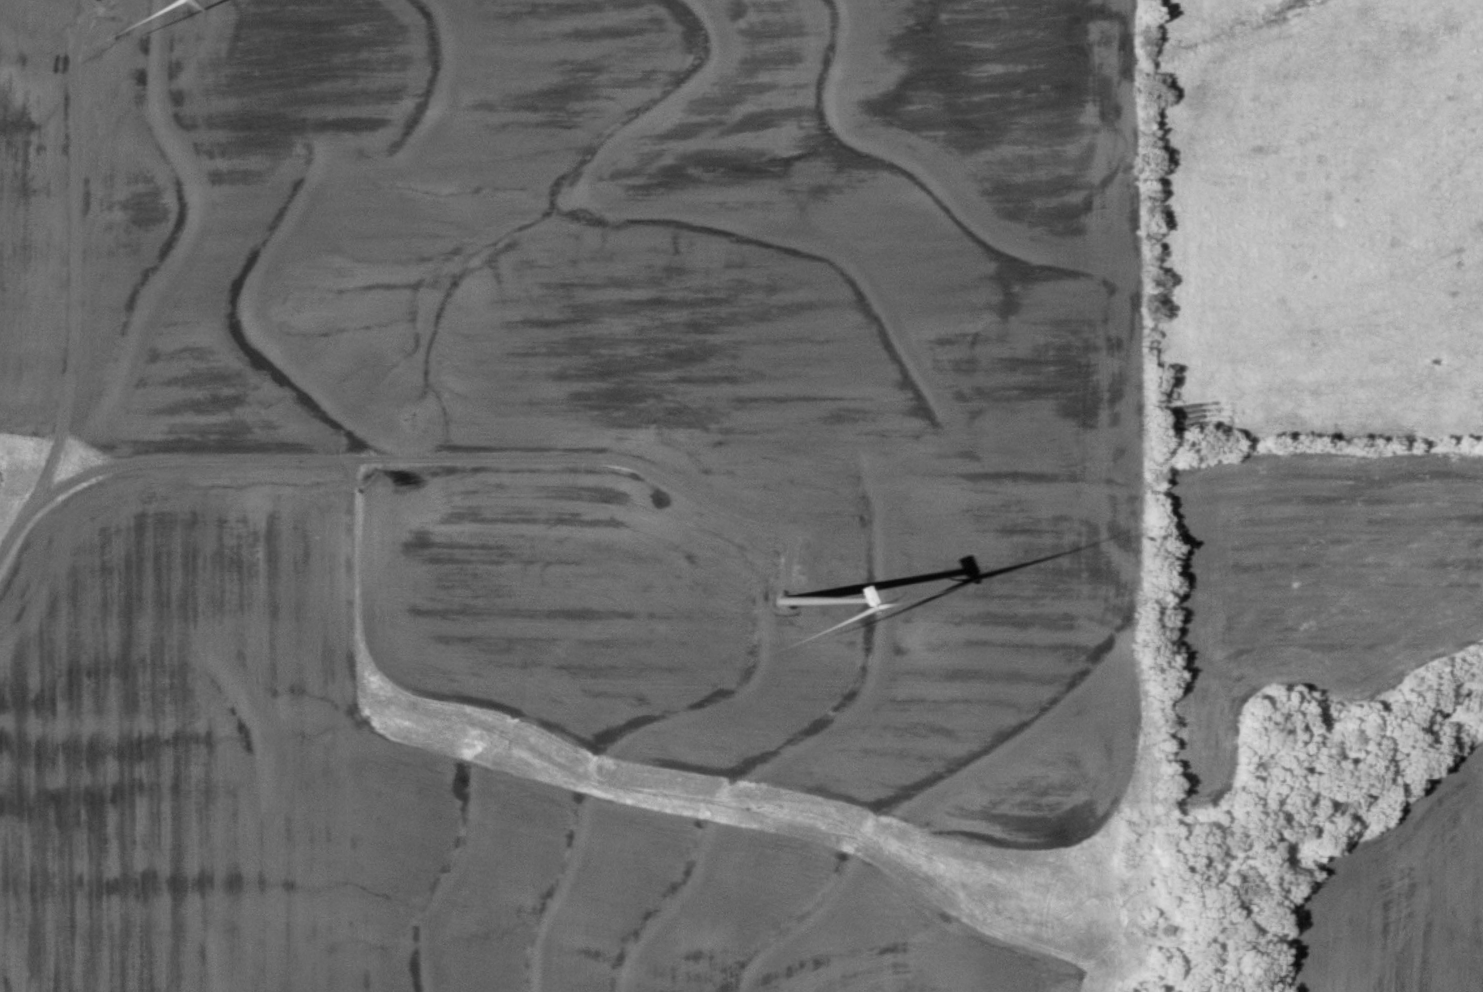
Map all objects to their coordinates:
wind turbine: (785, 600)

